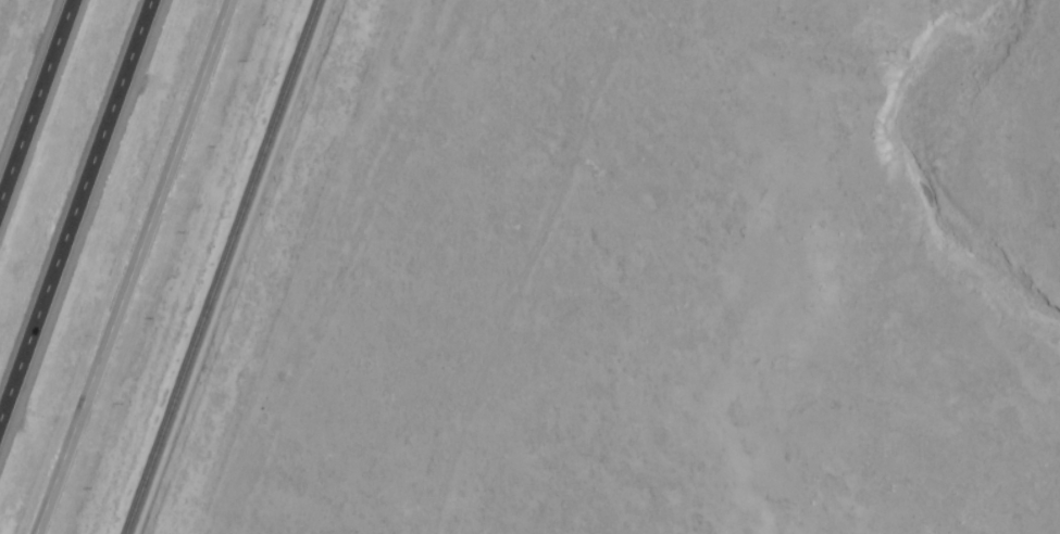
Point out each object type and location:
road: (39, 104)
road: (77, 220)
road: (135, 267)
railway: (217, 267)

